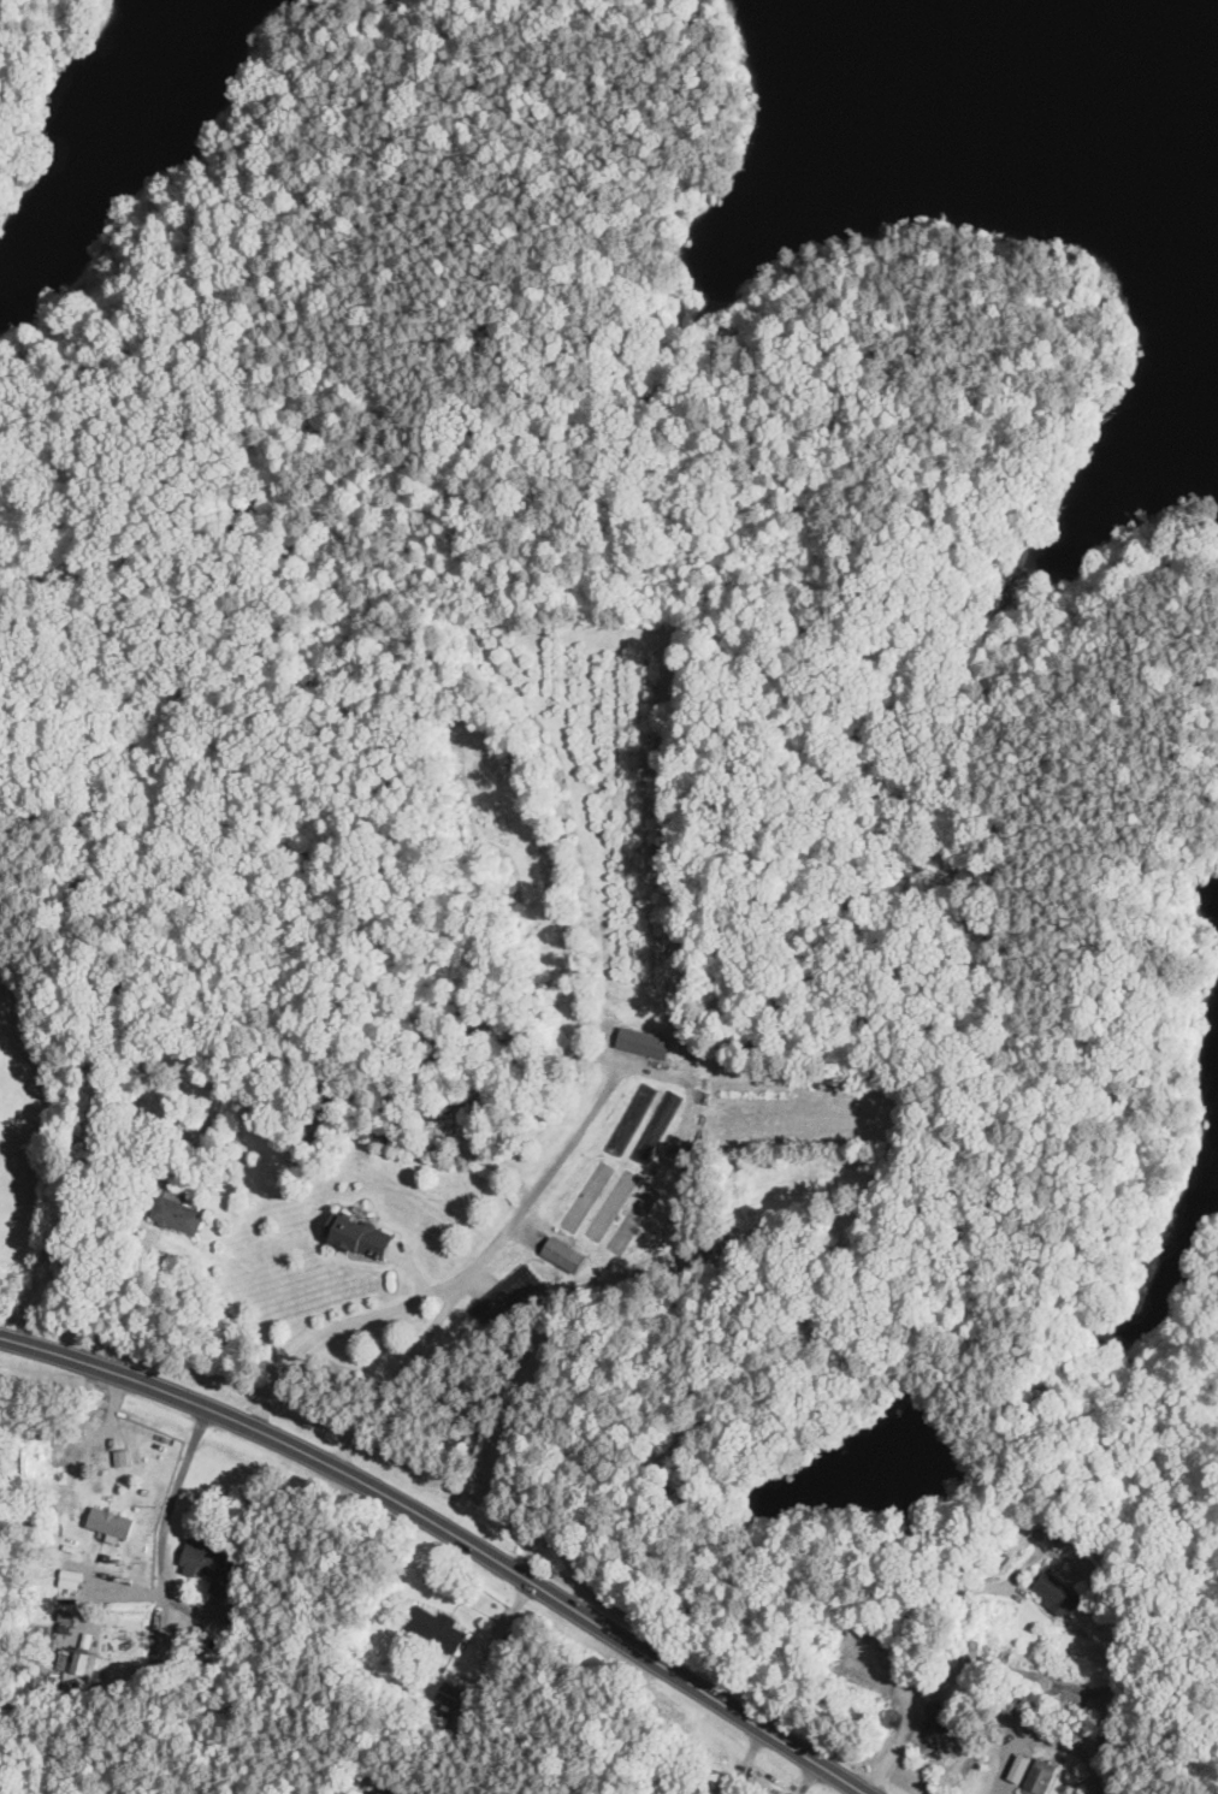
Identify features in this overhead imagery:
park: (36, 78)
road: (780, 332)
building: (130, 1029)
building: (643, 1044)
building: (634, 1119)
building: (661, 1127)
road: (1153, 1137)
road: (154, 1160)
building: (589, 1197)
road: (107, 1207)
building: (614, 1207)
building: (178, 1216)
building: (638, 1220)
road: (530, 1235)
building: (357, 1236)
road: (394, 1255)
building: (563, 1256)
road: (484, 1260)
road: (413, 1268)
road: (480, 1283)
building: (508, 1301)
building: (830, 1326)
road: (402, 1373)
pier: (894, 1389)
road: (688, 1429)
building: (111, 1523)
road: (164, 1532)
road: (450, 1532)
building: (211, 1563)
road: (969, 1585)
building: (1059, 1592)
road: (124, 1595)
road: (515, 1606)
road: (477, 1608)
building: (1124, 1611)
building: (436, 1626)
building: (79, 1664)
road: (958, 1672)
building: (453, 1705)
road: (746, 1759)
building: (1040, 1776)
road: (809, 1778)
road: (1004, 1782)
building: (377, 1792)
road: (1003, 1793)

